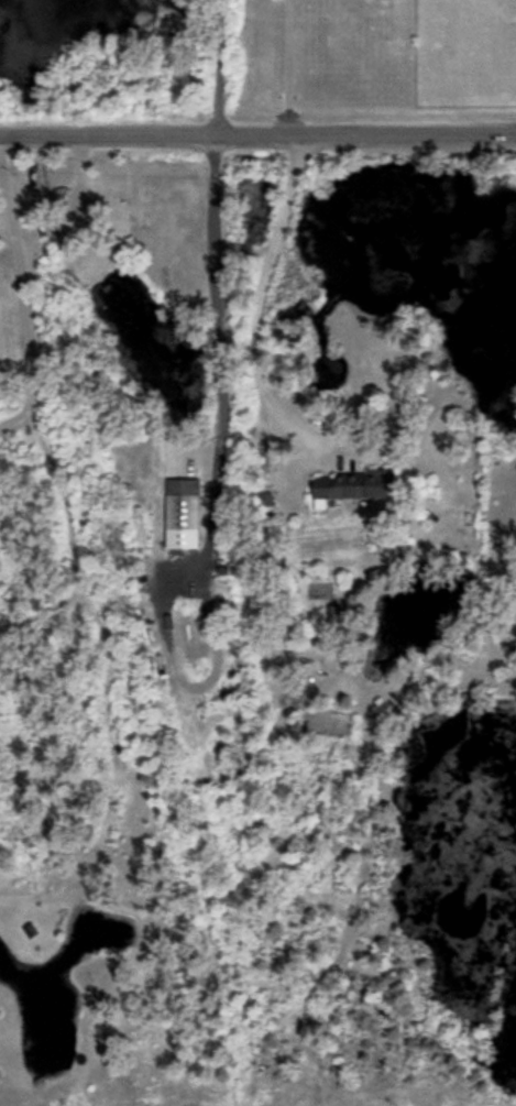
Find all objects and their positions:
road: (219, 66)
road: (290, 67)
road: (257, 134)
road: (216, 296)
road: (22, 297)
road: (257, 310)
building: (356, 485)
building: (182, 514)

